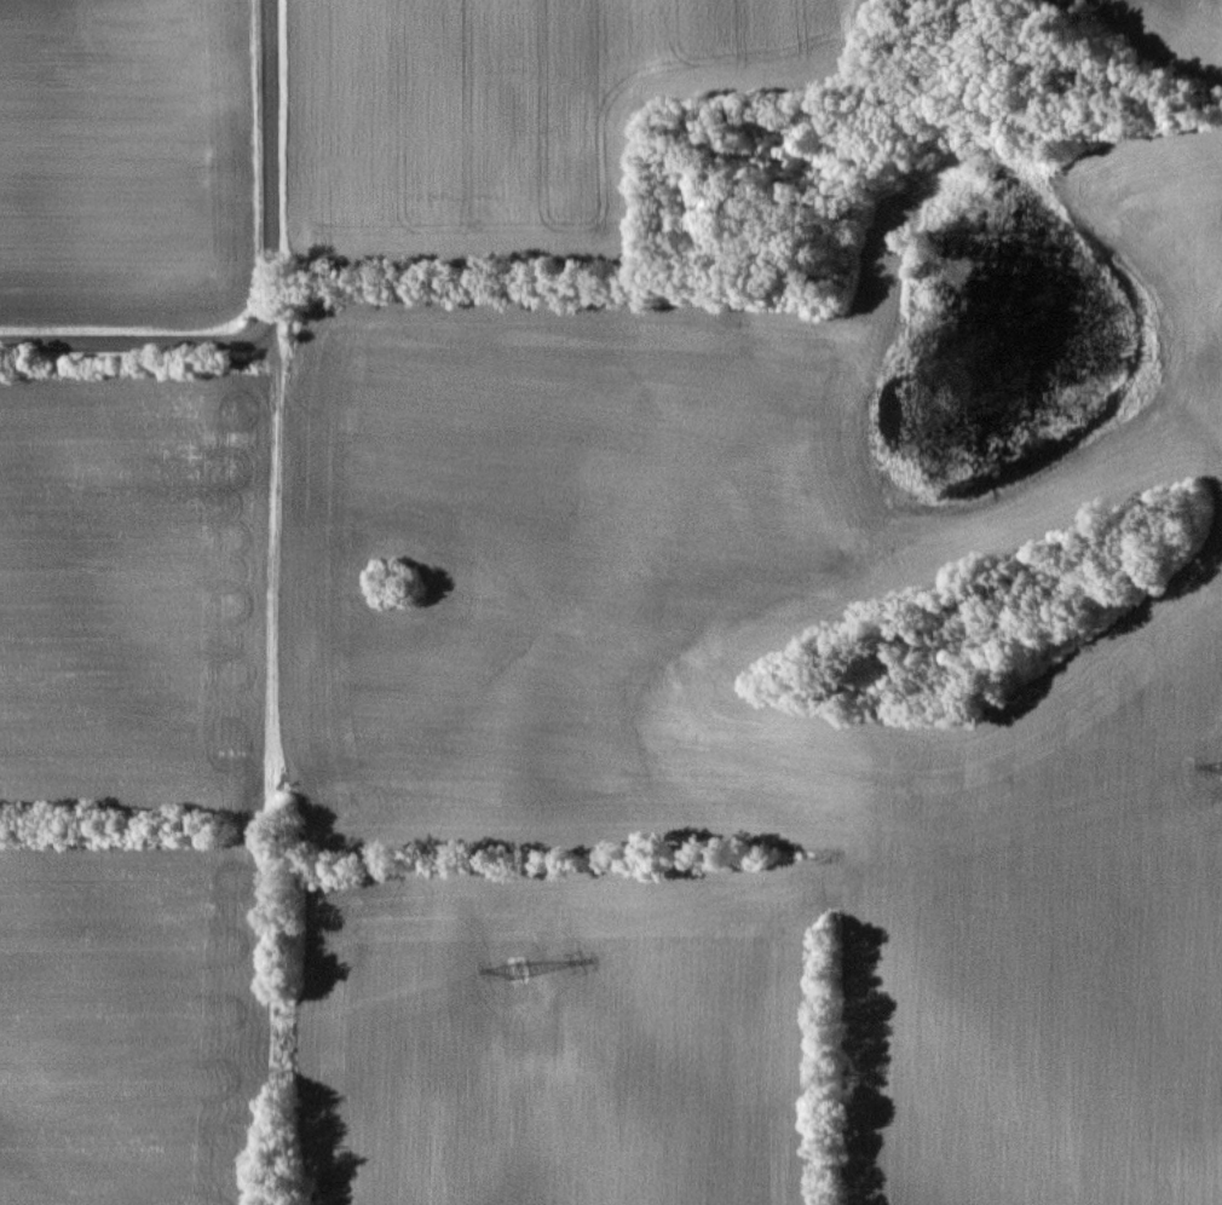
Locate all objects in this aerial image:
road: (272, 168)
road: (131, 342)
power tower: (544, 976)

